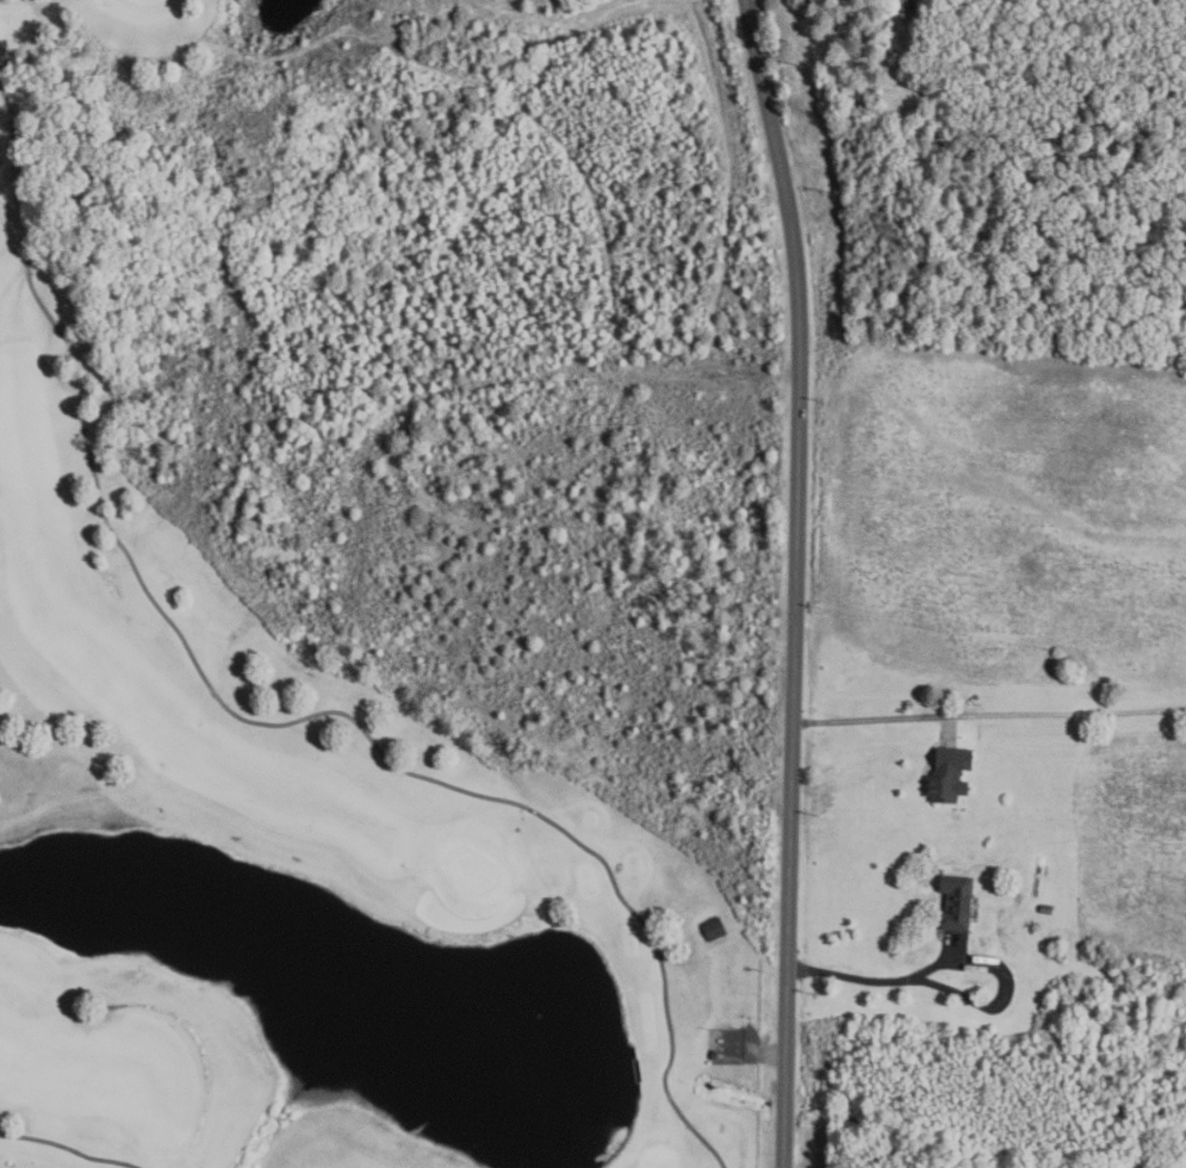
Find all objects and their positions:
building: (901, 5)
road: (1, 82)
building: (855, 98)
road: (19, 167)
road: (795, 582)
road: (1068, 712)
road: (873, 719)
road: (287, 722)
road: (950, 727)
building: (948, 775)
park: (287, 804)
building: (956, 902)
building: (1045, 908)
building: (713, 927)
road: (955, 959)
road: (693, 1127)
road: (68, 1149)

